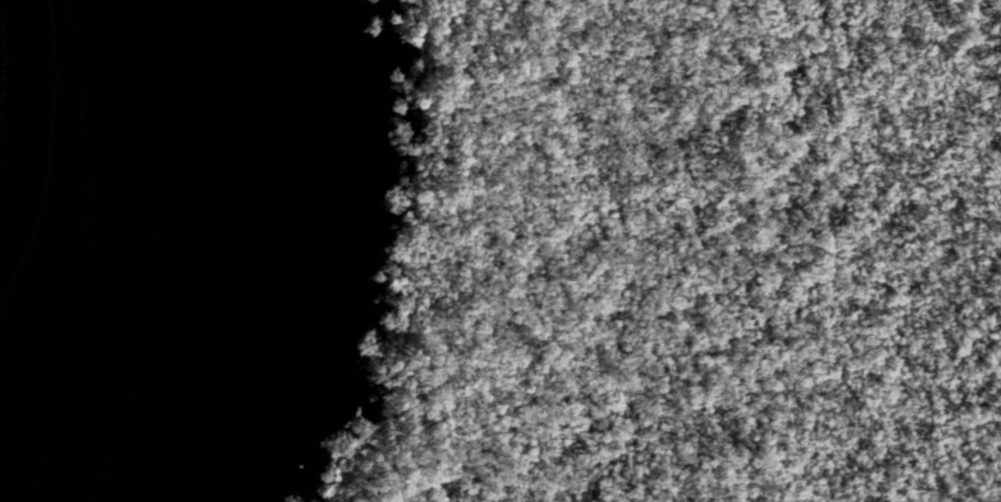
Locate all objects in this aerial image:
river: (17, 155)

